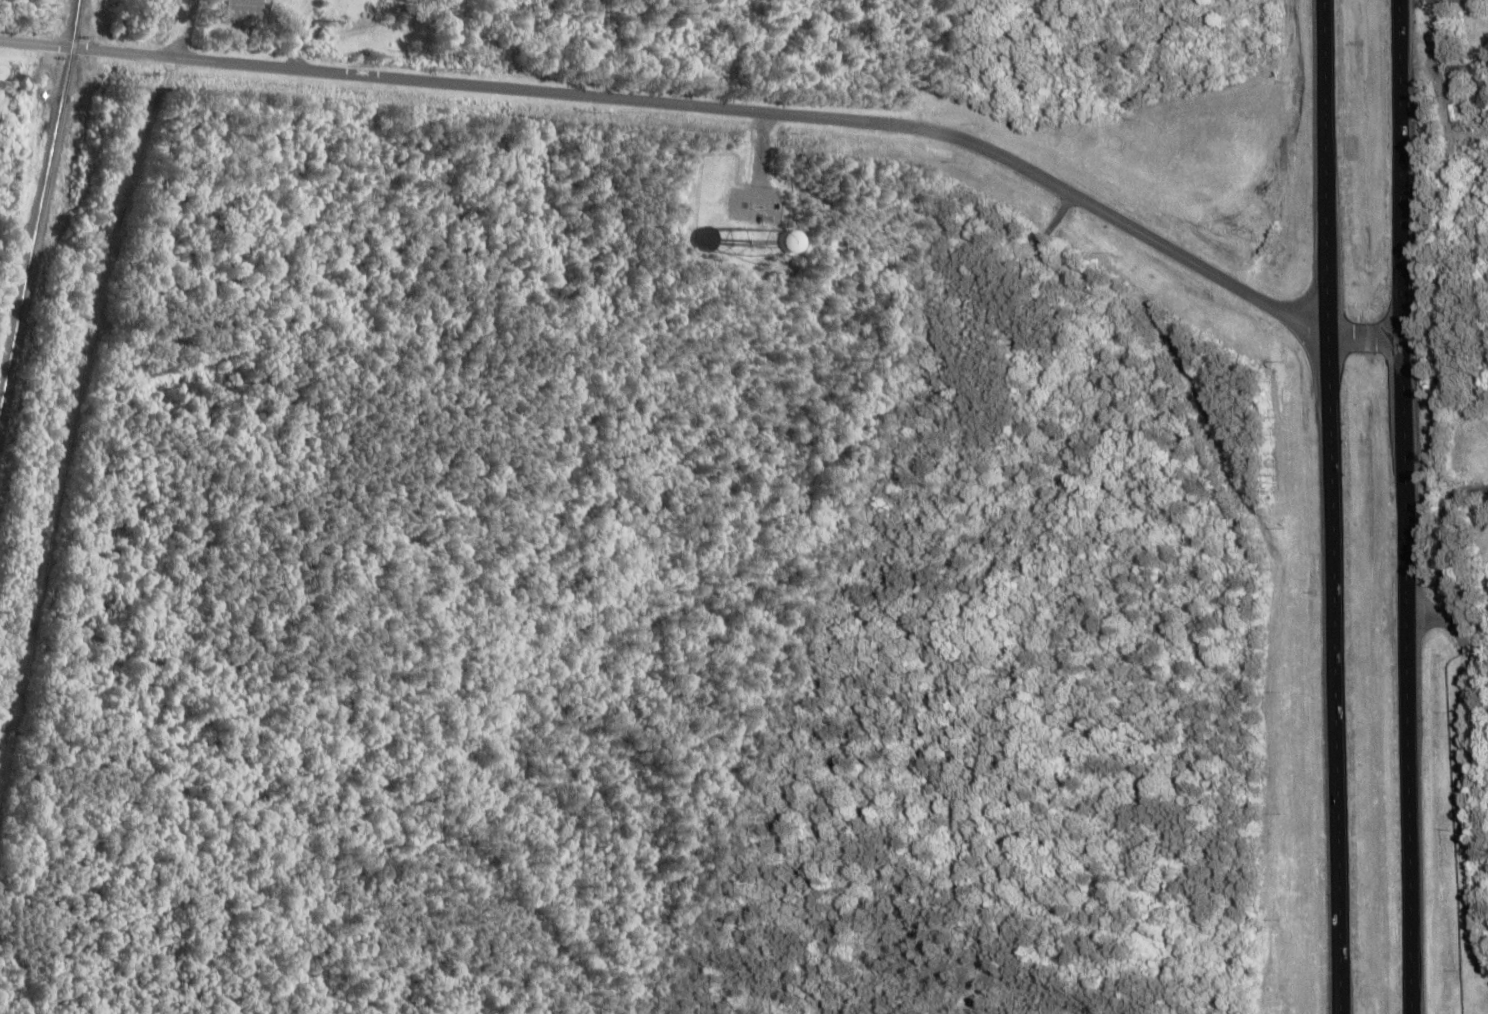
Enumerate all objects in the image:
building: (248, 9)
road: (184, 28)
building: (1477, 90)
road: (724, 107)
railway: (42, 212)
building: (747, 234)
water tower: (755, 244)
road: (1329, 506)
road: (1405, 506)
road: (1449, 554)

